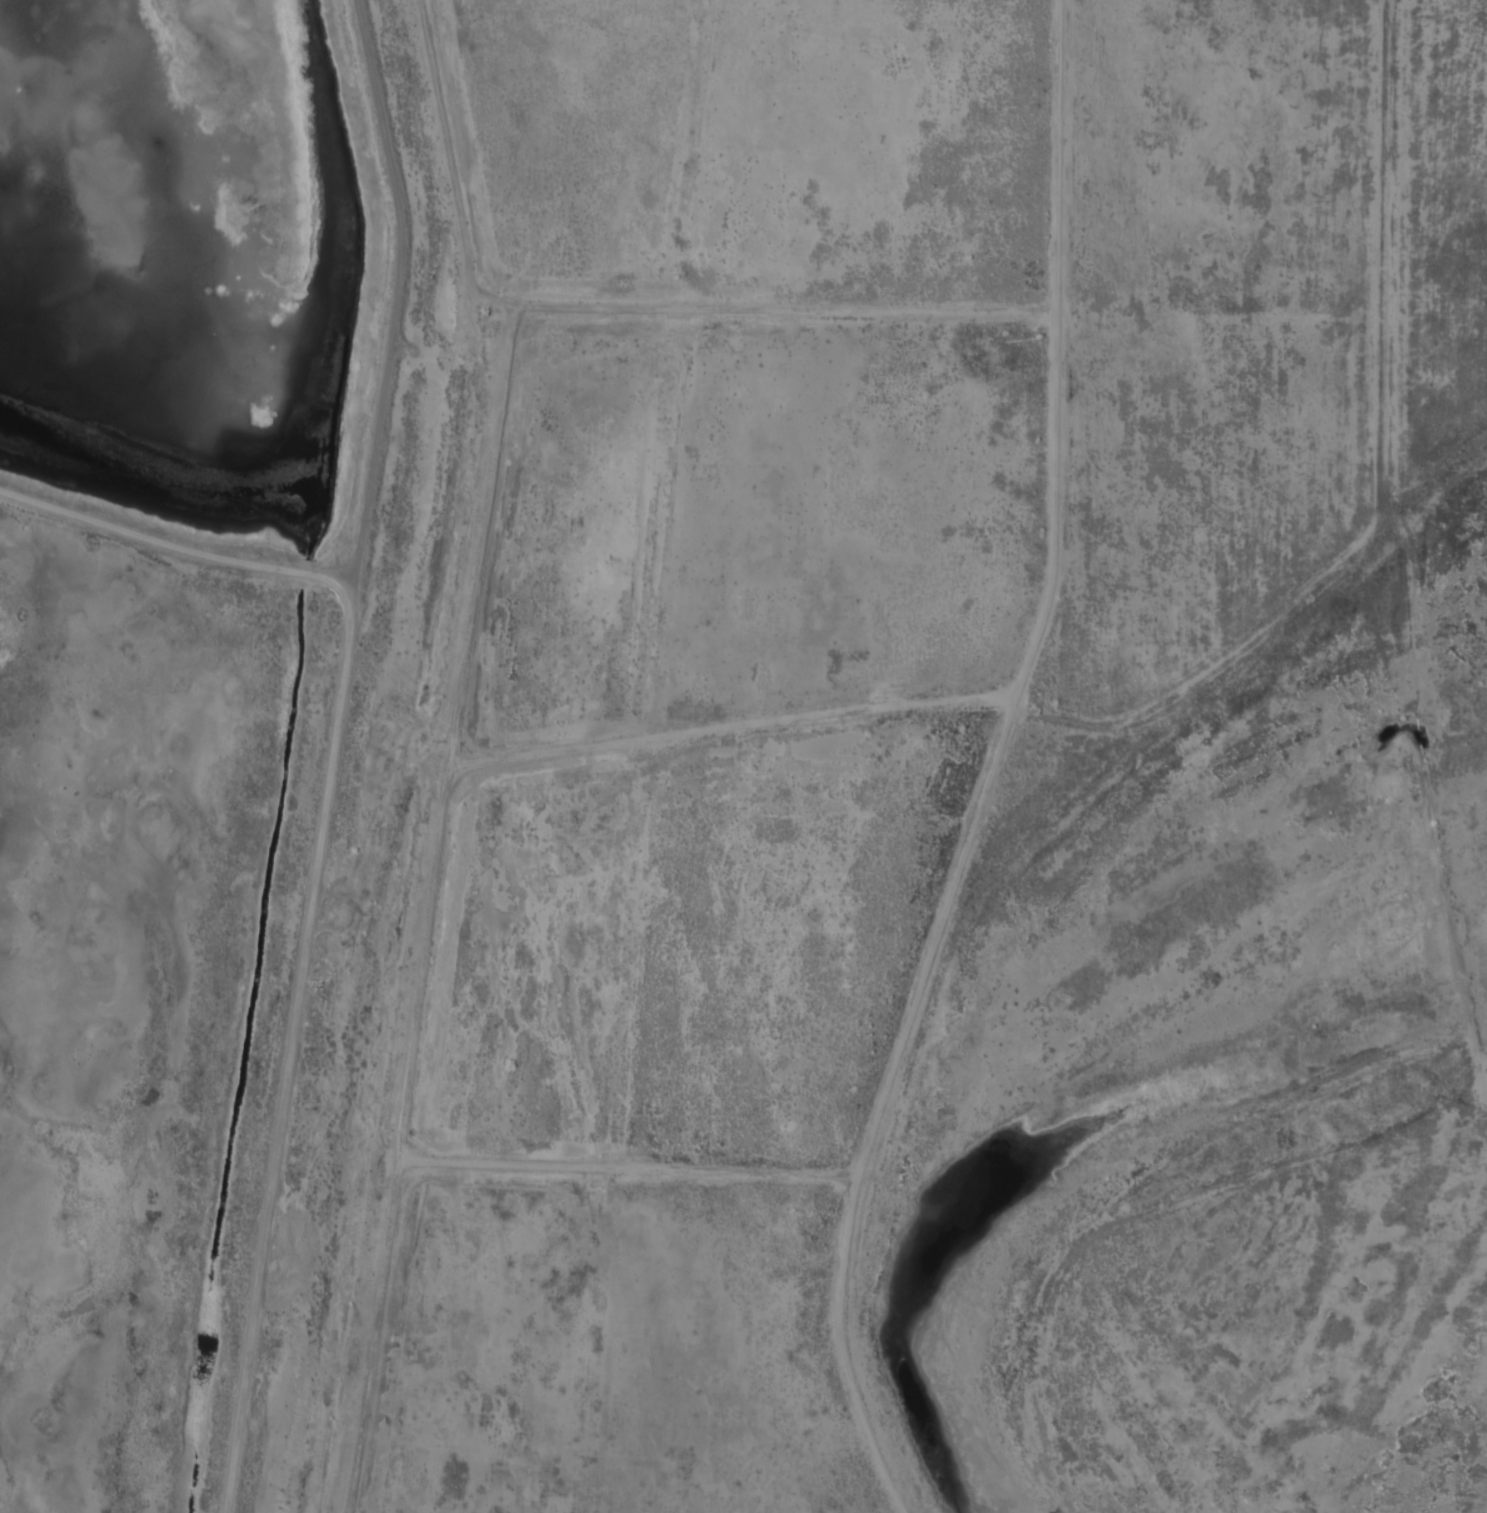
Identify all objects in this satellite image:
road: (393, 295)
road: (317, 870)

